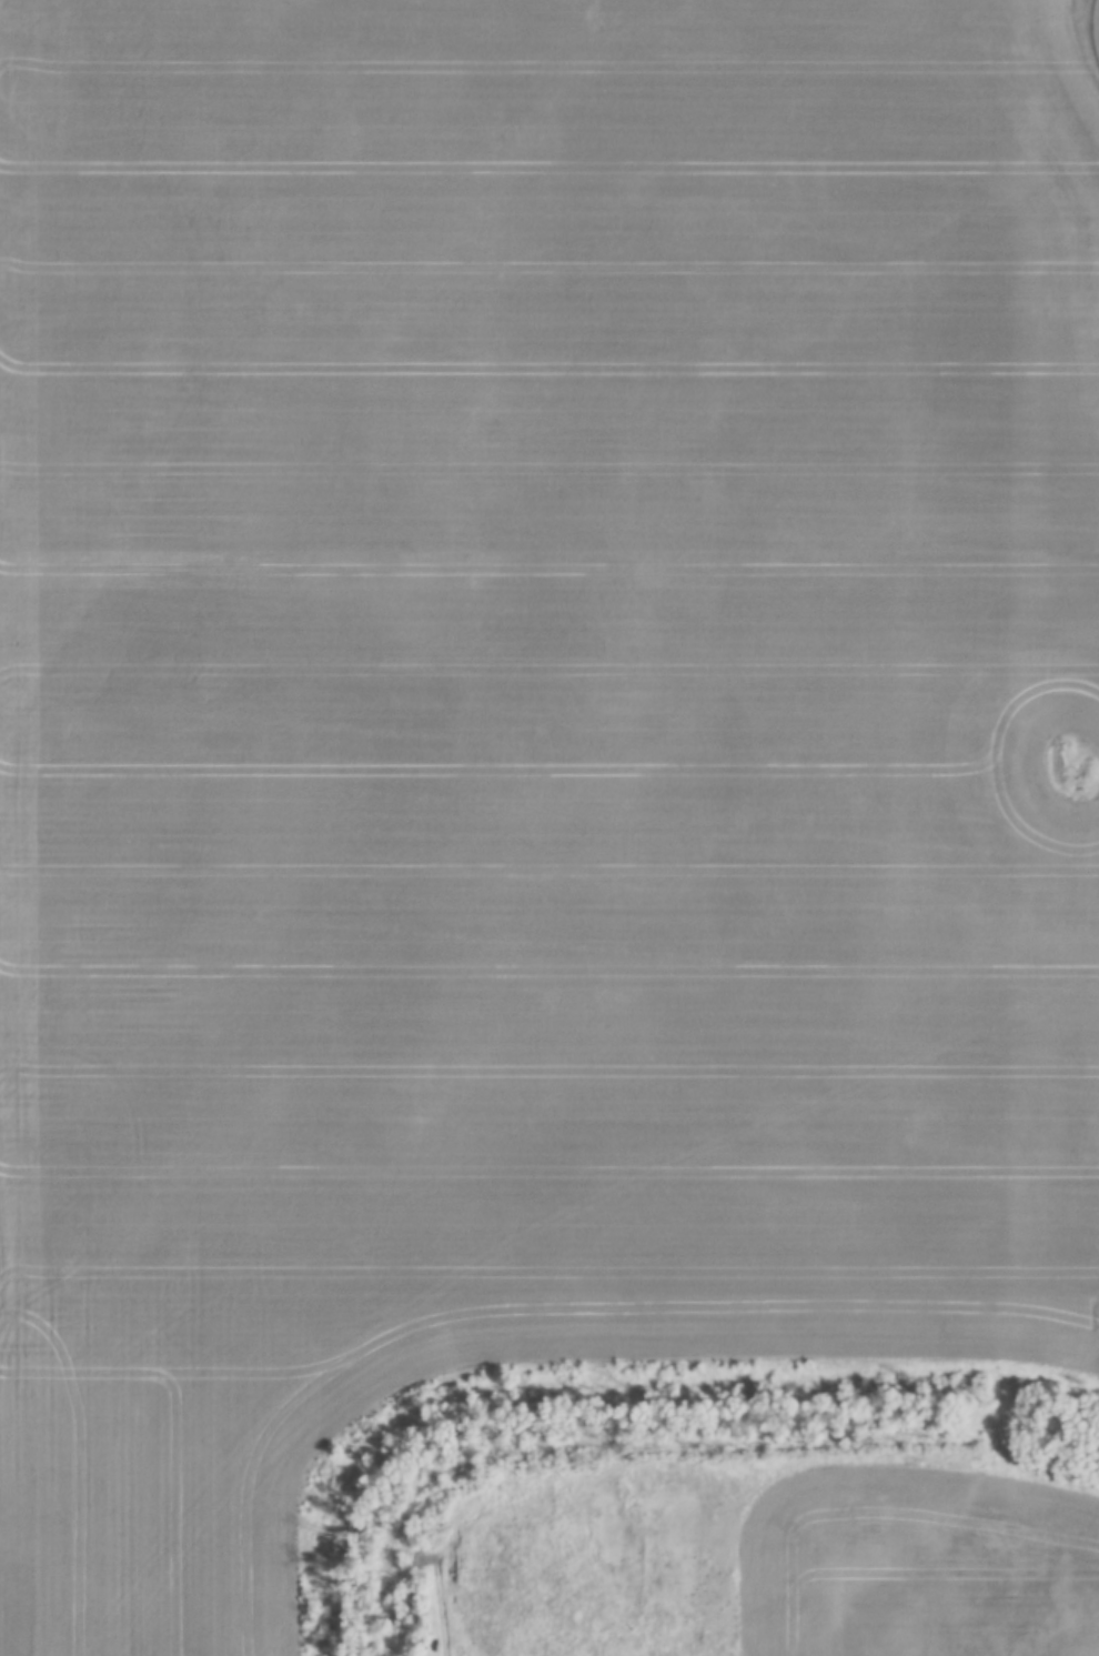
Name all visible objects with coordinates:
building: (619, 1515)

